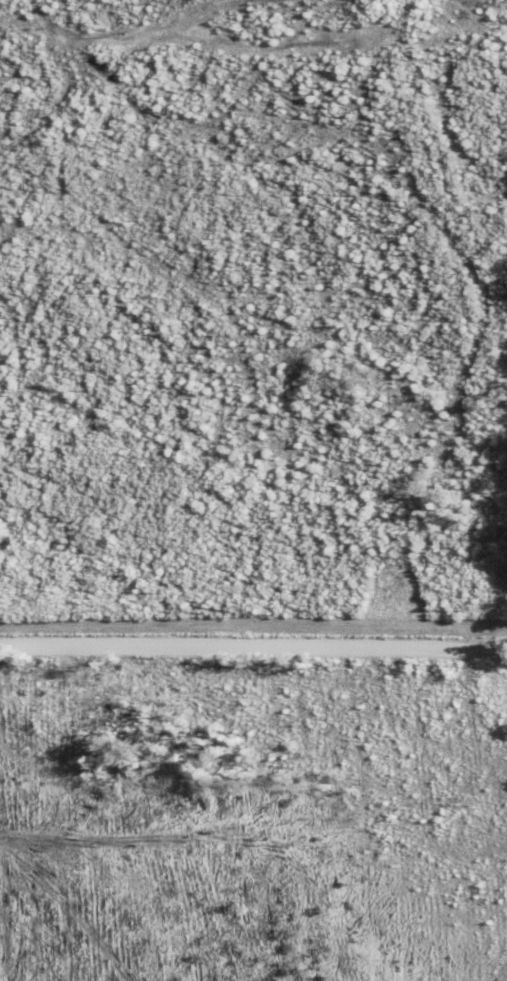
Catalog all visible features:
road: (253, 647)

